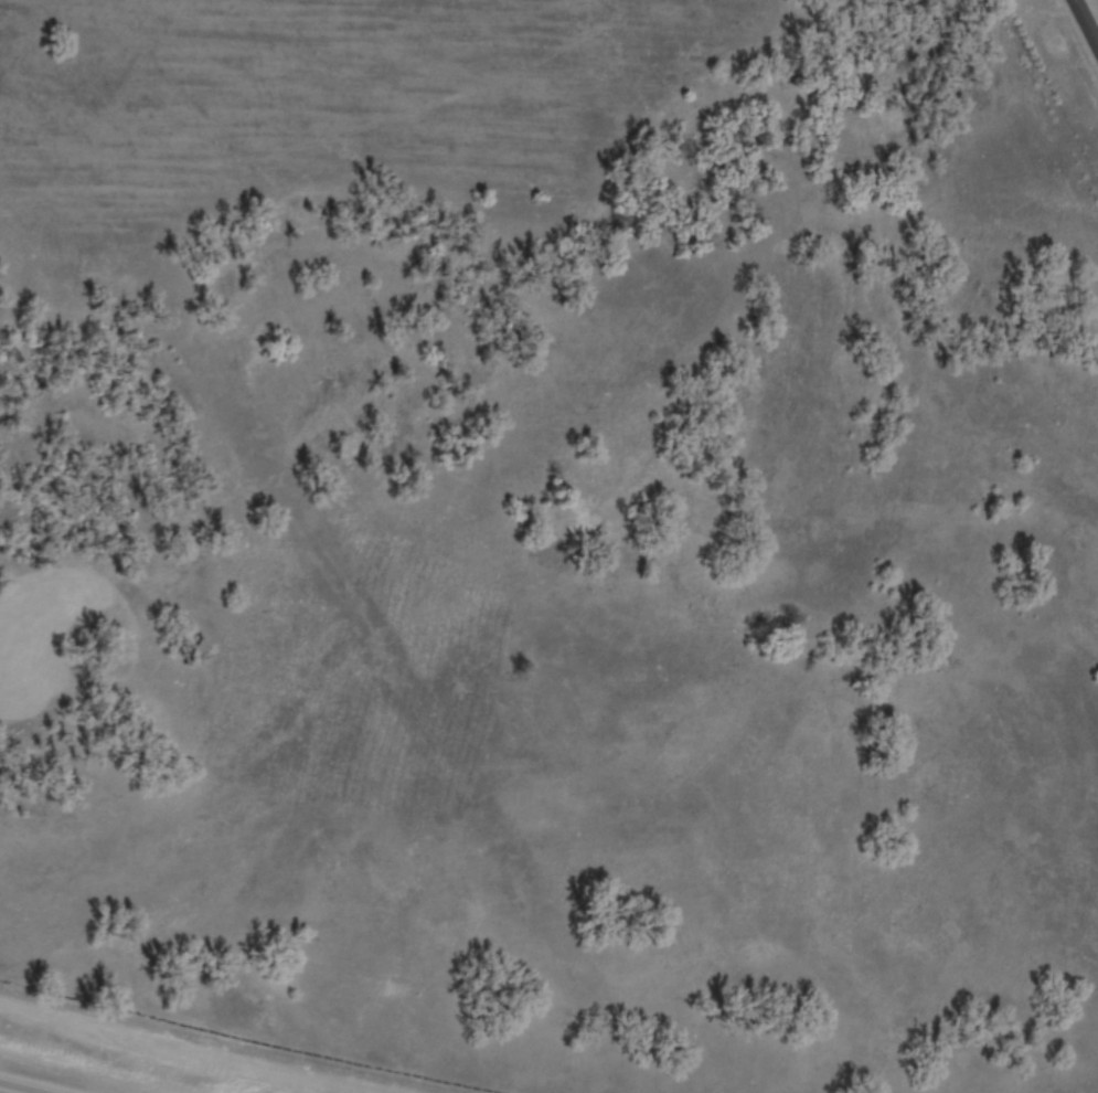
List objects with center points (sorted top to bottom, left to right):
road: (1087, 19)
road: (8, 1091)

